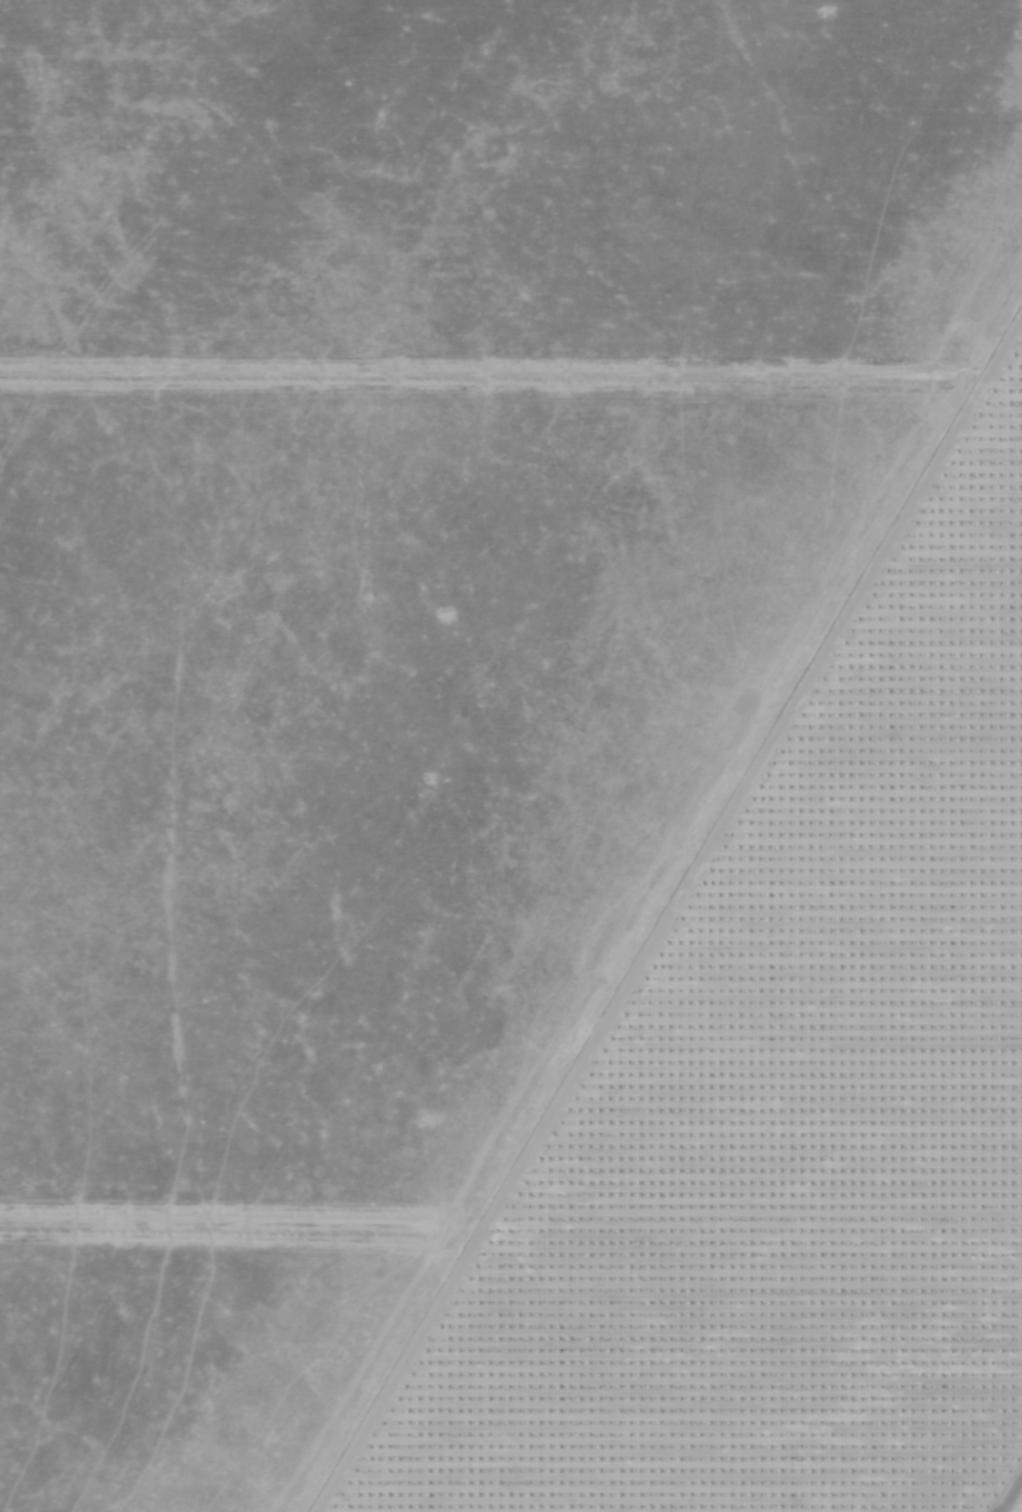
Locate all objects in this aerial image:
crop: (402, 616)
crop: (789, 1110)

